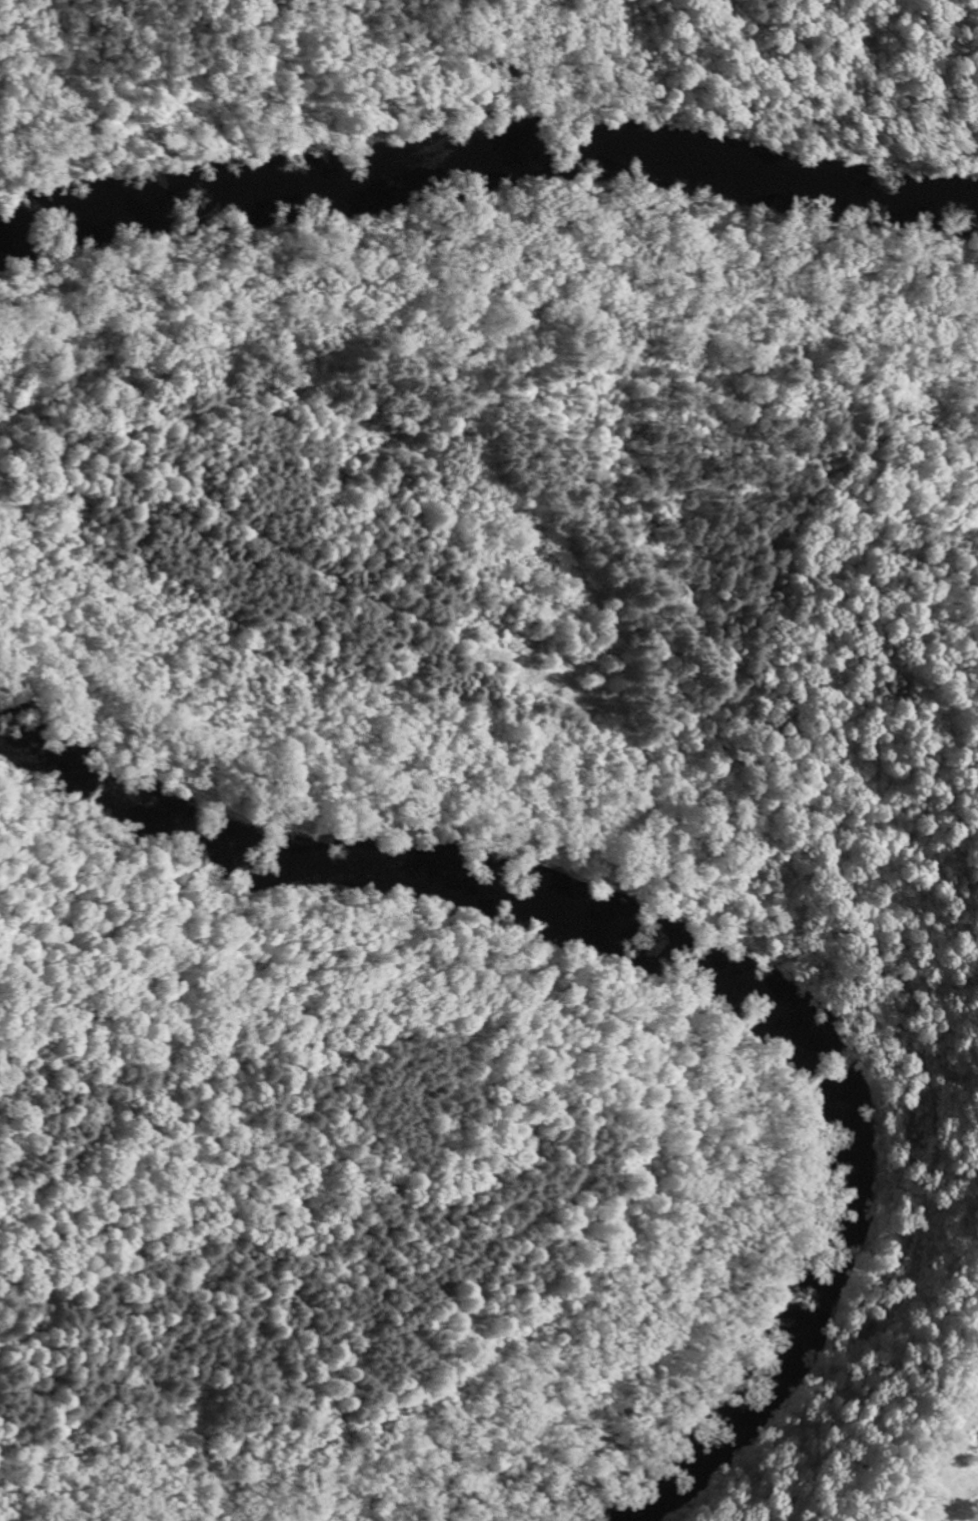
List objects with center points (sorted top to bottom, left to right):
river: (487, 163)
river: (722, 933)

